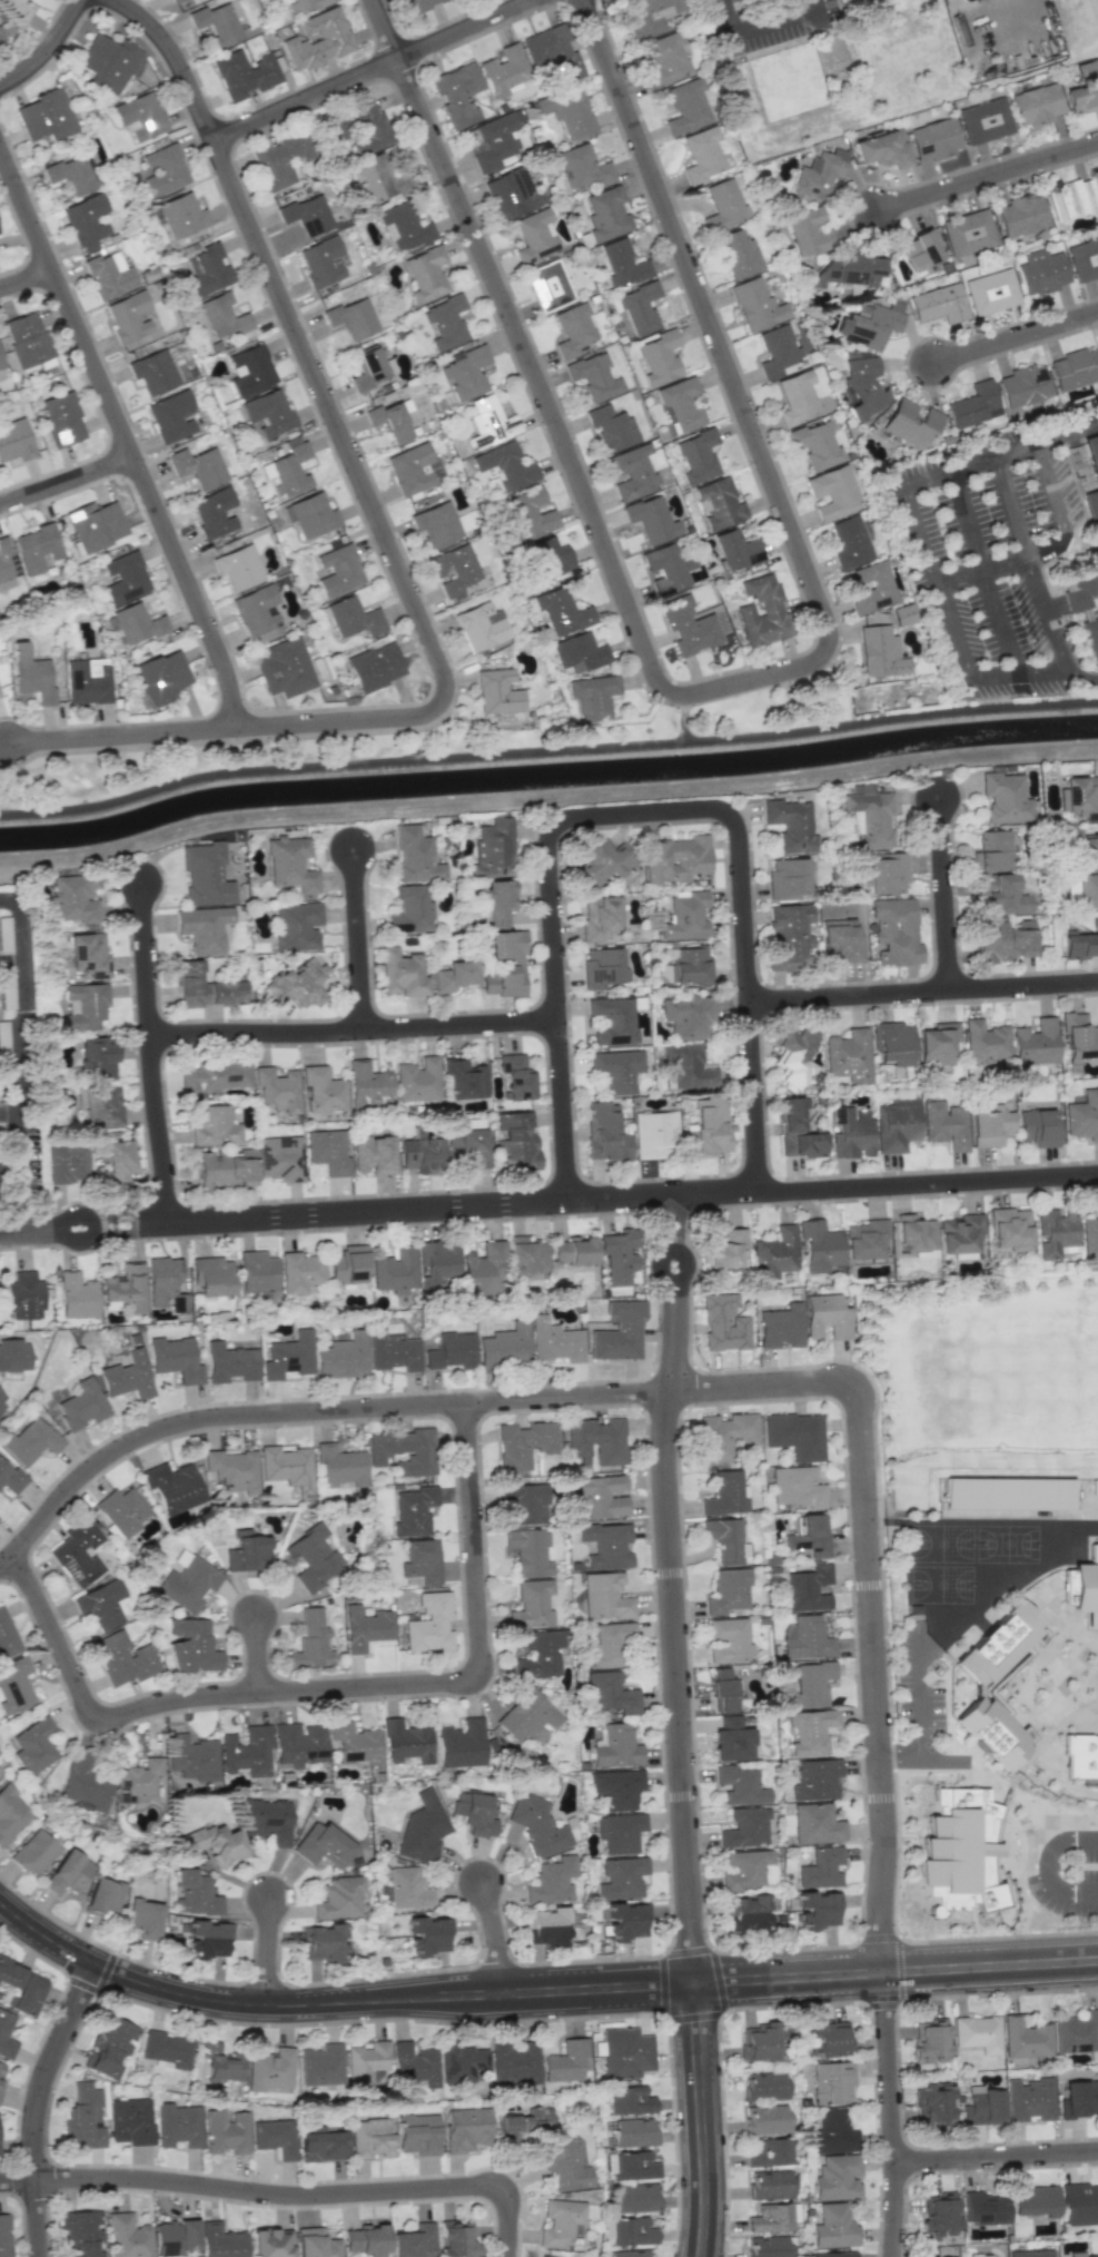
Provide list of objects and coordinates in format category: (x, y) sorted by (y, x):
building: (175, 0)
building: (305, 6)
building: (415, 6)
building: (14, 7)
building: (649, 16)
building: (216, 23)
road: (761, 27)
building: (0, 37)
building: (318, 39)
road: (47, 50)
building: (553, 55)
building: (665, 59)
building: (107, 62)
road: (374, 68)
building: (504, 71)
building: (244, 73)
building: (1084, 87)
building: (458, 93)
building: (1036, 105)
building: (685, 106)
building: (564, 110)
building: (46, 116)
building: (985, 120)
building: (360, 129)
building: (934, 139)
building: (882, 149)
building: (701, 156)
building: (280, 159)
building: (582, 168)
building: (162, 170)
building: (72, 173)
building: (819, 174)
building: (1097, 175)
building: (382, 177)
road: (987, 177)
building: (514, 193)
building: (1071, 199)
building: (724, 206)
building: (605, 213)
building: (307, 214)
building: (1021, 215)
building: (181, 216)
building: (86, 221)
building: (404, 226)
building: (808, 231)
building: (968, 233)
building: (535, 236)
building: (920, 249)
building: (738, 254)
building: (1084, 259)
building: (322, 262)
building: (622, 263)
building: (848, 269)
building: (209, 270)
building: (1041, 272)
building: (425, 274)
building: (109, 275)
road: (27, 278)
building: (548, 285)
building: (990, 292)
building: (938, 304)
building: (756, 305)
building: (640, 308)
road: (709, 315)
building: (129, 316)
building: (221, 316)
building: (353, 318)
building: (445, 323)
building: (872, 323)
building: (573, 329)
road: (1017, 337)
building: (27, 338)
building: (778, 351)
building: (659, 357)
building: (0, 365)
building: (367, 368)
building: (1075, 368)
building: (250, 369)
building: (154, 372)
building: (466, 372)
building: (594, 376)
building: (1023, 385)
building: (863, 386)
building: (797, 397)
building: (680, 405)
building: (975, 405)
building: (267, 413)
building: (171, 415)
building: (60, 418)
building: (390, 421)
building: (489, 422)
building: (911, 423)
building: (611, 427)
road: (123, 432)
road: (554, 432)
building: (14, 441)
building: (815, 444)
road: (999, 454)
building: (698, 456)
building: (1094, 461)
building: (198, 466)
building: (506, 466)
building: (413, 467)
building: (632, 472)
road: (68, 482)
building: (833, 491)
building: (719, 503)
building: (214, 512)
building: (528, 514)
building: (313, 515)
building: (652, 520)
building: (96, 524)
building: (435, 525)
building: (850, 541)
road: (389, 543)
building: (36, 548)
road: (1049, 548)
building: (735, 549)
building: (548, 558)
building: (4, 565)
building: (238, 566)
road: (1029, 566)
building: (669, 568)
building: (453, 569)
building: (338, 570)
road: (983, 573)
building: (125, 578)
building: (872, 588)
building: (1080, 591)
building: (561, 611)
building: (762, 611)
building: (257, 614)
building: (903, 614)
building: (353, 617)
building: (137, 623)
building: (689, 625)
building: (481, 627)
building: (1091, 638)
road: (954, 644)
building: (578, 652)
building: (880, 652)
building: (375, 667)
building: (284, 668)
building: (31, 674)
building: (161, 677)
building: (87, 682)
building: (497, 691)
building: (593, 696)
road: (685, 721)
road: (418, 742)
road: (547, 758)
building: (1081, 797)
building: (1006, 798)
road: (643, 810)
building: (871, 819)
building: (854, 822)
building: (791, 825)
building: (494, 848)
building: (1089, 850)
building: (991, 851)
building: (416, 856)
building: (677, 859)
building: (603, 861)
building: (290, 864)
building: (205, 874)
building: (886, 874)
building: (787, 878)
building: (1070, 887)
building: (1087, 889)
road: (946, 891)
building: (1002, 893)
building: (75, 898)
building: (498, 901)
building: (410, 909)
building: (599, 916)
building: (297, 926)
building: (204, 928)
building: (894, 930)
building: (4, 935)
building: (789, 936)
road: (357, 938)
building: (840, 940)
building: (1005, 942)
building: (1081, 942)
building: (87, 956)
building: (506, 965)
building: (690, 966)
building: (601, 967)
building: (400, 973)
building: (455, 976)
building: (298, 984)
building: (205, 987)
road: (922, 989)
building: (85, 1005)
road: (21, 1012)
building: (688, 1016)
building: (613, 1019)
road: (353, 1029)
building: (1078, 1037)
building: (985, 1041)
building: (893, 1042)
building: (1035, 1043)
building: (938, 1046)
road: (149, 1052)
building: (848, 1055)
building: (794, 1056)
building: (96, 1057)
building: (689, 1066)
building: (617, 1068)
building: (214, 1076)
building: (515, 1076)
building: (464, 1078)
building: (418, 1080)
building: (368, 1084)
building: (277, 1090)
building: (322, 1090)
building: (100, 1105)
building: (1084, 1115)
building: (896, 1124)
building: (944, 1125)
building: (212, 1126)
building: (990, 1126)
building: (709, 1127)
building: (1038, 1127)
building: (798, 1131)
building: (851, 1132)
building: (604, 1133)
building: (653, 1133)
building: (517, 1139)
building: (466, 1142)
building: (327, 1151)
road: (23, 1155)
building: (374, 1155)
building: (422, 1155)
building: (280, 1157)
building: (120, 1162)
building: (67, 1163)
building: (226, 1169)
road: (548, 1202)
road: (24, 1214)
building: (1010, 1229)
building: (1056, 1232)
building: (914, 1233)
building: (960, 1234)
building: (1089, 1236)
building: (865, 1239)
building: (820, 1245)
building: (726, 1248)
building: (573, 1251)
building: (774, 1253)
building: (620, 1254)
building: (527, 1255)
building: (435, 1263)
building: (347, 1264)
building: (483, 1269)
building: (257, 1271)
building: (395, 1271)
building: (299, 1272)
building: (211, 1277)
building: (165, 1283)
building: (123, 1287)
road: (676, 1294)
building: (24, 1295)
building: (77, 1295)
building: (827, 1317)
building: (723, 1323)
building: (780, 1327)
building: (619, 1332)
building: (555, 1341)
building: (505, 1346)
building: (393, 1350)
building: (451, 1351)
building: (14, 1356)
building: (288, 1356)
building: (343, 1357)
building: (175, 1359)
building: (230, 1362)
building: (127, 1376)
road: (765, 1388)
building: (2, 1400)
building: (81, 1405)
road: (307, 1411)
building: (725, 1435)
building: (795, 1435)
building: (596, 1440)
building: (30, 1441)
building: (523, 1445)
building: (404, 1450)
building: (340, 1466)
building: (287, 1467)
building: (234, 1469)
building: (11, 1478)
building: (174, 1487)
building: (795, 1487)
building: (725, 1494)
building: (602, 1495)
building: (525, 1502)
building: (121, 1510)
building: (413, 1510)
building: (809, 1537)
building: (725, 1540)
park: (942, 1543)
park: (1008, 1543)
building: (606, 1545)
building: (247, 1551)
building: (528, 1551)
building: (78, 1553)
building: (311, 1557)
building: (421, 1561)
building: (188, 1584)
park: (942, 1584)
building: (1084, 1587)
building: (809, 1588)
building: (728, 1590)
building: (605, 1596)
building: (102, 1604)
building: (532, 1605)
building: (429, 1624)
building: (366, 1627)
building: (7, 1636)
building: (807, 1638)
building: (729, 1639)
building: (310, 1640)
building: (998, 1643)
building: (610, 1644)
building: (191, 1645)
road: (258, 1654)
building: (540, 1654)
building: (122, 1658)
road: (874, 1677)
building: (810, 1683)
building: (14, 1686)
road: (334, 1688)
road: (674, 1688)
building: (723, 1689)
building: (612, 1693)
building: (526, 1716)
building: (811, 1731)
building: (991, 1733)
building: (731, 1739)
building: (406, 1742)
building: (355, 1743)
building: (298, 1744)
building: (465, 1744)
building: (32, 1745)
building: (616, 1747)
building: (246, 1752)
building: (1081, 1756)
building: (191, 1757)
building: (815, 1780)
building: (138, 1782)
building: (83, 1783)
building: (740, 1784)
building: (617, 1787)
building: (474, 1813)
building: (11, 1814)
building: (265, 1820)
building: (815, 1824)
building: (537, 1826)
building: (745, 1827)
building: (422, 1829)
building: (620, 1832)
road: (1082, 1839)
building: (215, 1843)
building: (322, 1844)
road: (1049, 1846)
building: (34, 1852)
building: (960, 1852)
building: (745, 1869)
building: (821, 1869)
building: (68, 1872)
building: (622, 1877)
building: (552, 1881)
road: (1051, 1882)
building: (407, 1889)
road: (1082, 1892)
building: (195, 1893)
building: (102, 1896)
building: (338, 1898)
building: (817, 1910)
building: (748, 1912)
building: (142, 1918)
building: (623, 1921)
building: (547, 1925)
building: (427, 1935)
road: (496, 1938)
building: (206, 1939)
building: (323, 1943)
road: (269, 1951)
road: (991, 1968)
road: (789, 1979)
building: (22, 1987)
road: (333, 2004)
building: (1076, 2032)
building: (977, 2033)
building: (6, 2036)
building: (828, 2038)
building: (930, 2039)
building: (1025, 2039)
building: (758, 2041)
building: (109, 2046)
building: (166, 2050)
building: (625, 2052)
building: (514, 2061)
building: (565, 2061)
building: (220, 2063)
building: (462, 2063)
building: (320, 2064)
building: (365, 2064)
building: (414, 2064)
building: (269, 2069)
building: (1, 2070)
building: (832, 2082)
building: (764, 2086)
building: (1029, 2099)
building: (1079, 2099)
building: (630, 2100)
building: (932, 2102)
road: (38, 2103)
building: (982, 2105)
road: (892, 2115)
building: (83, 2119)
building: (765, 2119)
road: (699, 2120)
building: (130, 2121)
building: (526, 2122)
building: (177, 2125)
building: (465, 2129)
building: (832, 2131)
building: (225, 2132)
building: (633, 2132)
building: (417, 2133)
building: (274, 2137)
building: (370, 2137)
building: (322, 2145)
building: (769, 2151)
road: (997, 2156)
building: (564, 2162)
building: (632, 2166)
building: (837, 2177)
road: (18, 2179)
building: (770, 2185)
road: (306, 2194)
building: (635, 2198)
building: (1033, 2200)
building: (1079, 2204)
building: (985, 2208)
building: (939, 2215)
building: (771, 2218)
building: (560, 2220)
building: (833, 2227)
building: (631, 2231)
building: (81, 2234)
building: (4, 2235)
building: (128, 2237)
building: (175, 2237)
building: (455, 2239)
building: (221, 2240)
building: (365, 2240)
building: (414, 2241)
building: (270, 2243)
building: (315, 2244)
building: (766, 2247)
building: (1031, 2253)
building: (629, 2254)
building: (832, 2254)
building: (1076, 2254)
building: (543, 2256)
building: (1097, 2256)

